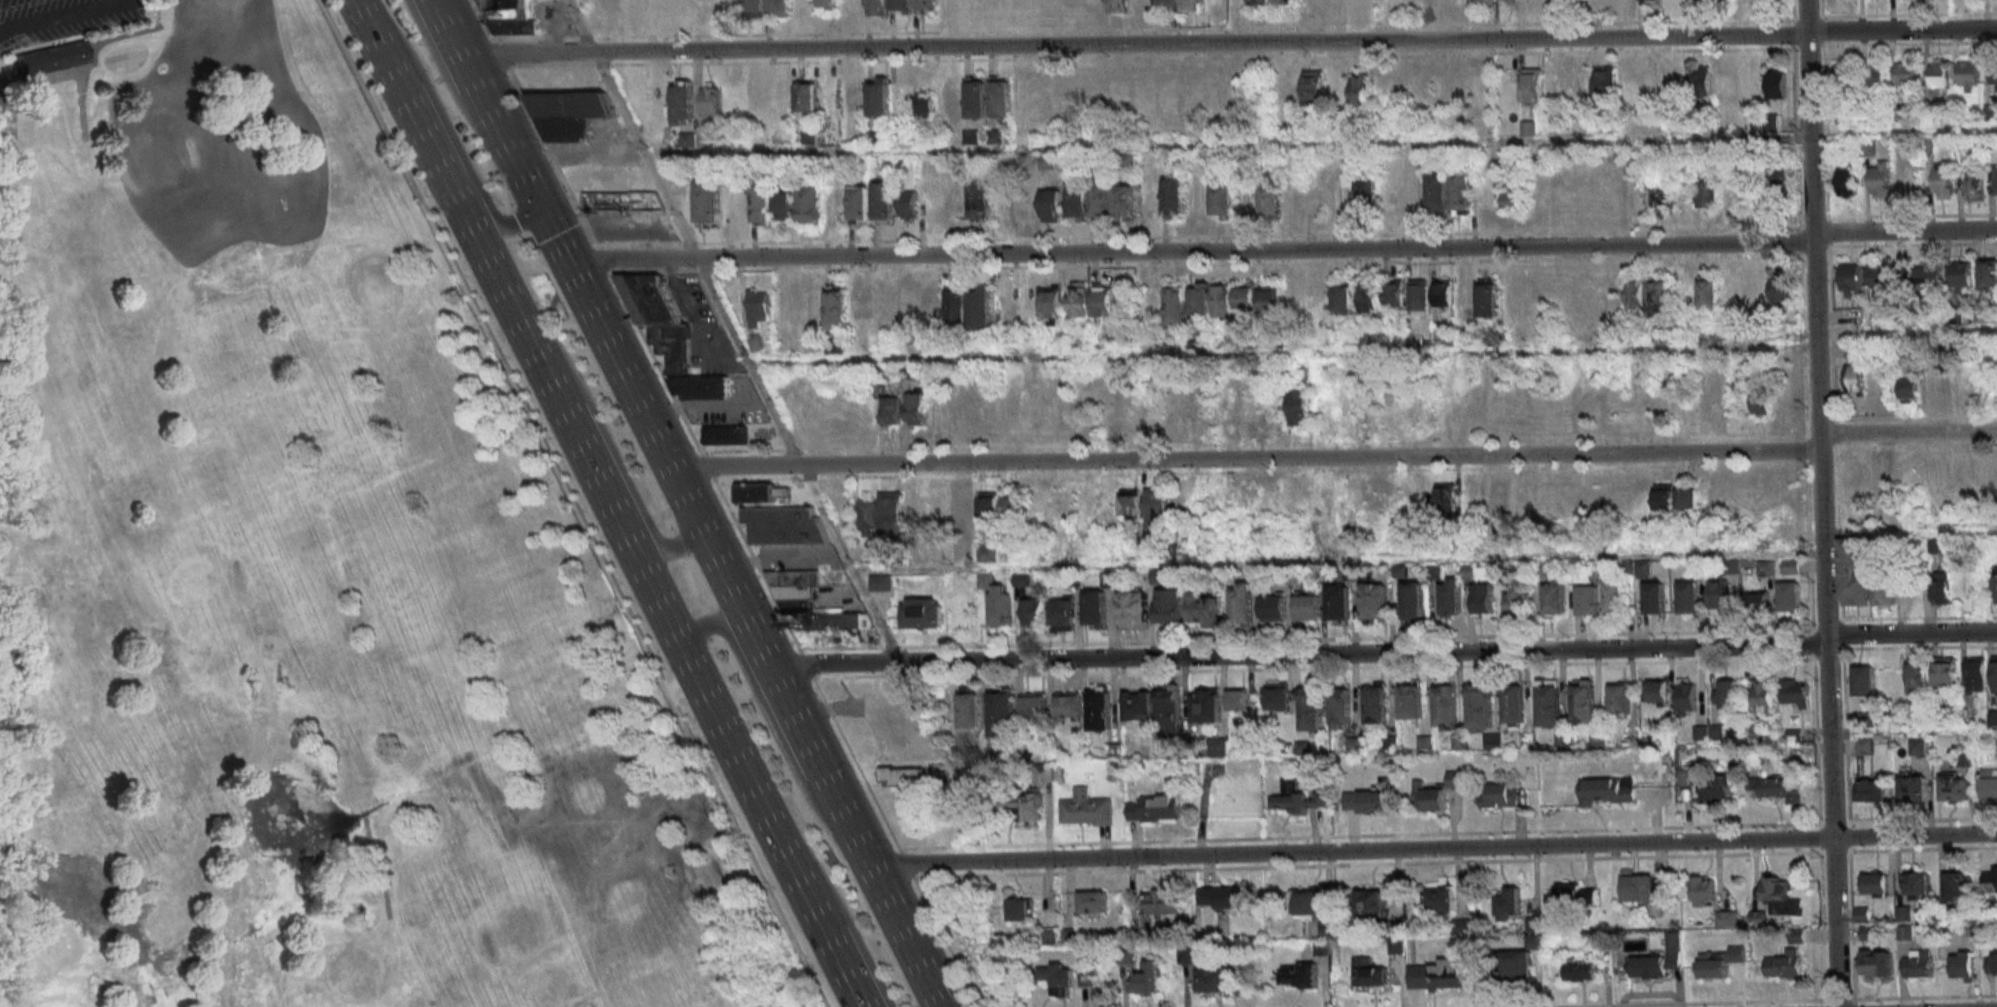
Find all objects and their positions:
building: (1648, 0)
road: (125, 1)
road: (358, 2)
building: (1261, 2)
building: (1285, 2)
building: (1336, 2)
building: (1457, 2)
building: (826, 3)
building: (973, 3)
building: (1236, 3)
building: (1361, 3)
building: (1482, 3)
building: (1522, 3)
building: (755, 4)
building: (926, 4)
building: (507, 5)
building: (901, 5)
building: (1117, 5)
building: (1165, 5)
building: (1190, 5)
building: (877, 7)
building: (779, 8)
building: (635, 10)
road: (62, 17)
parking lot: (61, 20)
building: (514, 26)
road: (449, 27)
road: (1298, 41)
road: (531, 53)
building: (49, 57)
road: (89, 66)
building: (1968, 72)
building: (1938, 74)
building: (1844, 76)
building: (1876, 76)
building: (1905, 76)
building: (1993, 76)
building: (1699, 80)
building: (1653, 81)
building: (1604, 82)
road: (451, 84)
building: (1775, 84)
building: (1532, 85)
building: (1313, 86)
building: (1337, 87)
building: (1557, 87)
building: (1290, 88)
building: (1360, 90)
building: (1193, 91)
building: (1481, 91)
building: (1629, 91)
building: (879, 96)
building: (976, 97)
building: (710, 98)
building: (809, 98)
building: (1000, 98)
building: (782, 99)
building: (682, 100)
building: (756, 100)
road: (488, 105)
building: (924, 105)
road: (12, 109)
road: (82, 109)
building: (571, 115)
road: (448, 125)
road: (630, 128)
building: (1528, 128)
road: (1903, 129)
road: (12, 130)
road: (1226, 146)
road: (444, 176)
building: (1880, 179)
building: (1994, 179)
building: (1777, 180)
building: (1846, 181)
road: (526, 182)
building: (1972, 182)
building: (1941, 183)
building: (1437, 192)
building: (1462, 193)
building: (1705, 193)
building: (1367, 195)
building: (1388, 195)
building: (1175, 196)
building: (1413, 197)
building: (1607, 197)
building: (1654, 197)
building: (980, 198)
building: (1271, 198)
building: (1222, 199)
building: (1123, 200)
building: (1149, 200)
building: (1512, 200)
building: (607, 201)
building: (884, 201)
building: (932, 201)
building: (1101, 201)
building: (708, 202)
building: (836, 202)
building: (860, 202)
building: (1078, 202)
building: (810, 204)
building: (740, 205)
building: (763, 205)
building: (784, 205)
building: (1052, 205)
building: (908, 206)
building: (1004, 207)
building: (1028, 208)
traffic signals: (540, 209)
road: (253, 228)
road: (552, 234)
road: (1282, 250)
building: (1988, 274)
building: (1928, 277)
building: (1960, 277)
building: (1850, 278)
building: (1879, 278)
building: (1754, 291)
building: (1779, 292)
building: (1394, 293)
building: (1443, 293)
building: (1418, 294)
building: (1706, 294)
building: (1247, 295)
building: (1512, 296)
building: (1487, 297)
building: (1270, 298)
building: (1343, 298)
building: (1368, 298)
building: (1005, 299)
building: (1079, 299)
building: (1222, 299)
building: (1657, 299)
building: (1200, 300)
building: (1104, 301)
building: (1309, 301)
building: (1151, 302)
building: (957, 304)
building: (1053, 305)
building: (1177, 305)
building: (861, 306)
building: (981, 306)
building: (813, 307)
building: (910, 307)
building: (934, 307)
building: (758, 308)
building: (837, 308)
building: (658, 317)
building: (1850, 317)
road: (1906, 329)
road: (500, 339)
road: (1281, 350)
building: (1854, 370)
building: (701, 388)
building: (1911, 389)
building: (1708, 403)
building: (1761, 403)
building: (1784, 403)
building: (1299, 406)
building: (915, 408)
building: (1179, 408)
building: (1036, 409)
building: (938, 411)
building: (890, 412)
building: (964, 412)
building: (726, 434)
road: (1335, 457)
road: (615, 458)
road: (798, 458)
building: (1886, 476)
building: (1991, 476)
building: (762, 492)
building: (1853, 493)
building: (1446, 495)
building: (1674, 497)
building: (1498, 498)
building: (1469, 500)
building: (1579, 501)
road: (574, 503)
building: (1132, 503)
road: (1821, 503)
road: (723, 504)
building: (1014, 505)
building: (1546, 505)
building: (989, 506)
building: (1040, 506)
building: (1062, 506)
building: (917, 507)
building: (1110, 508)
building: (1157, 509)
building: (942, 511)
building: (964, 511)
building: (891, 514)
building: (868, 517)
building: (785, 526)
road: (1909, 529)
road: (1338, 560)
building: (1790, 566)
building: (1643, 568)
building: (1765, 568)
building: (1853, 570)
park: (303, 577)
park: (303, 577)
building: (881, 582)
building: (1995, 585)
building: (1942, 587)
building: (1885, 592)
building: (1718, 594)
road: (655, 595)
building: (1451, 596)
building: (1554, 597)
building: (1614, 597)
building: (1789, 597)
building: (1517, 598)
building: (1689, 598)
building: (1484, 599)
building: (1585, 599)
building: (1652, 599)
building: (1413, 600)
building: (1242, 601)
building: (1376, 601)
building: (1339, 602)
building: (1756, 602)
building: (1001, 604)
building: (810, 605)
building: (1170, 605)
building: (1308, 605)
building: (1096, 607)
building: (1204, 607)
building: (1274, 607)
building: (1135, 609)
building: (1034, 611)
building: (923, 613)
building: (1063, 613)
road: (702, 626)
road: (752, 632)
road: (1383, 652)
building: (1945, 671)
building: (1994, 673)
building: (1975, 674)
building: (1917, 675)
building: (1861, 681)
building: (1657, 691)
building: (1764, 692)
building: (1725, 693)
building: (1794, 693)
building: (1277, 695)
building: (1686, 697)
building: (1619, 698)
building: (1238, 699)
building: (1411, 699)
building: (1583, 701)
building: (1376, 702)
building: (1548, 702)
building: (1069, 703)
building: (1035, 704)
building: (1513, 704)
building: (1138, 705)
building: (1481, 705)
building: (1208, 706)
building: (1446, 707)
building: (1340, 708)
building: (970, 709)
building: (1099, 709)
building: (1312, 709)
road: (873, 711)
building: (1170, 712)
building: (1002, 713)
parking lot: (903, 729)
building: (1355, 743)
building: (1916, 747)
road: (784, 753)
road: (713, 765)
building: (904, 773)
building: (1045, 773)
building: (1988, 784)
building: (1716, 787)
building: (1952, 787)
building: (1782, 788)
building: (1912, 789)
building: (1604, 791)
building: (1870, 791)
building: (1505, 795)
building: (1298, 797)
building: (1430, 797)
building: (1365, 800)
building: (1025, 804)
building: (1086, 808)
building: (1155, 808)
road: (1432, 847)
road: (382, 863)
building: (1990, 879)
building: (1876, 884)
building: (1917, 885)
building: (1954, 886)
building: (1636, 887)
building: (1703, 889)
building: (1774, 889)
building: (1576, 895)
building: (1222, 898)
building: (1440, 900)
building: (1093, 901)
building: (1510, 901)
building: (1165, 902)
building: (1309, 902)
building: (1372, 903)
road: (811, 906)
building: (1020, 908)
building: (1903, 913)
road: (844, 917)
building: (1069, 935)
building: (1396, 946)
building: (1186, 955)
building: (1658, 960)
building: (1722, 962)
building: (1875, 962)
building: (1991, 962)
building: (1917, 963)
building: (1517, 964)
building: (1962, 964)
building: (1782, 966)
building: (1581, 969)
building: (1366, 972)
building: (1300, 975)
building: (1436, 975)
building: (1087, 976)
building: (1058, 978)
building: (1215, 979)
building: (1145, 981)
road: (852, 988)
road: (104, 996)

